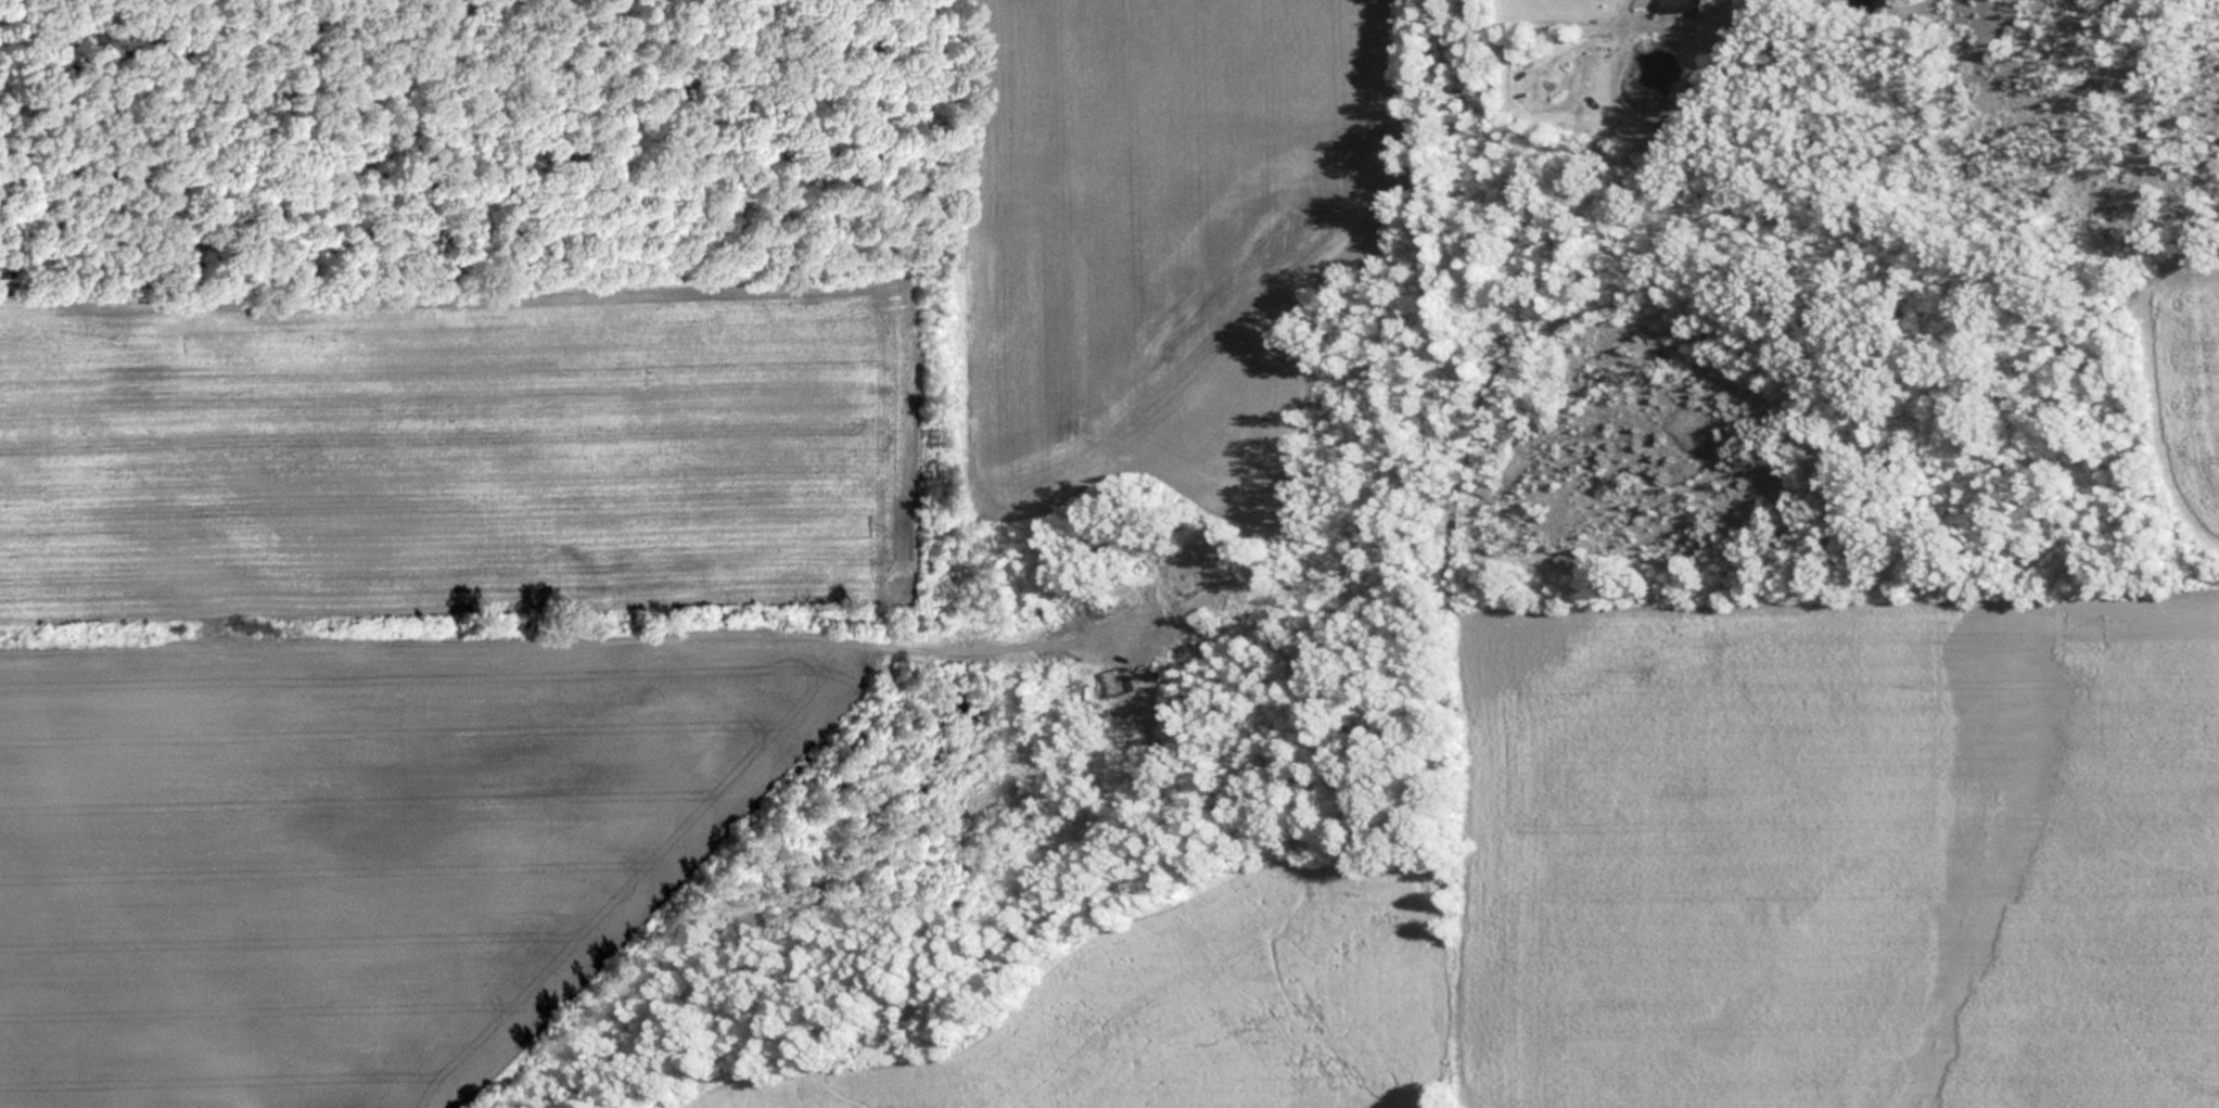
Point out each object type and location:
road: (1709, 91)
road: (451, 647)

